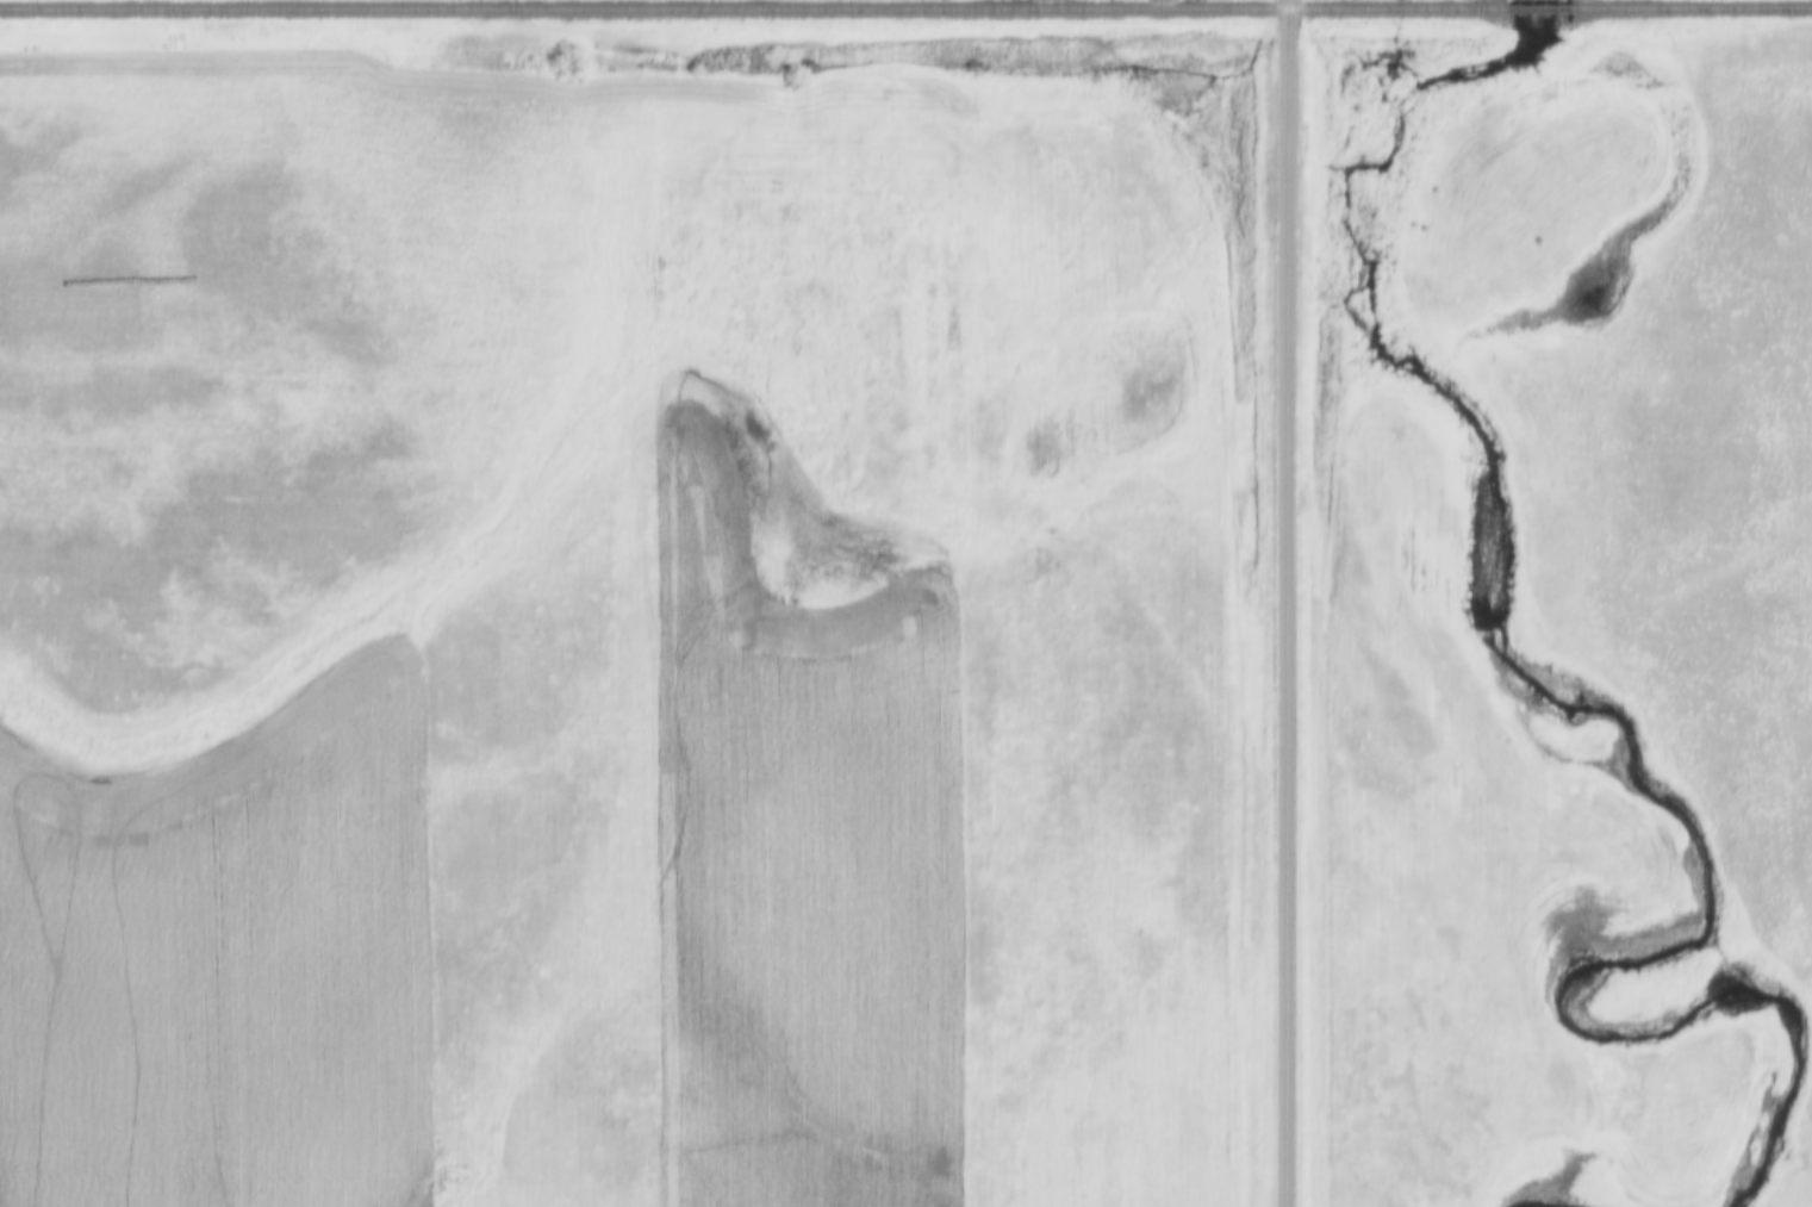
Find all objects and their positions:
railway: (1688, 8)
railway: (748, 10)
railway: (1531, 10)
road: (1279, 603)

